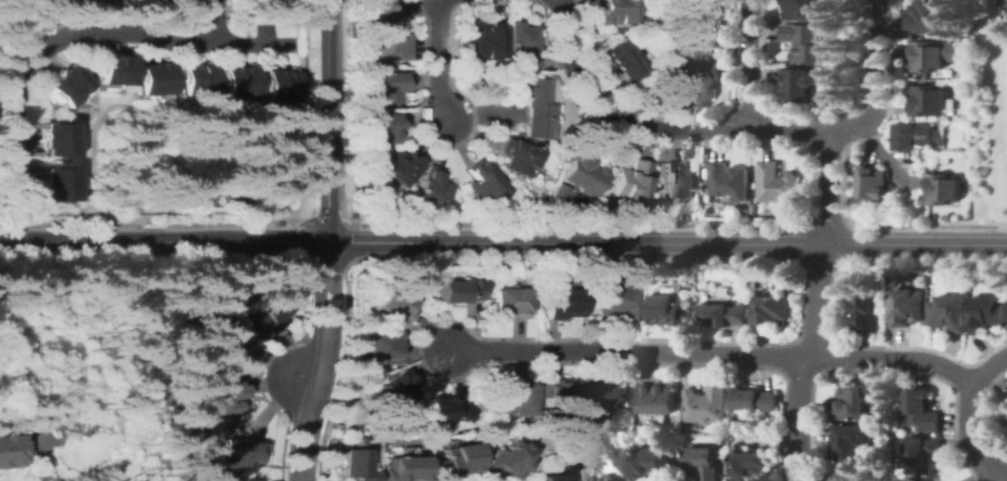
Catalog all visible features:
building: (698, 4)
building: (1006, 4)
building: (378, 8)
building: (802, 8)
building: (613, 12)
building: (928, 17)
road: (215, 21)
road: (83, 35)
building: (699, 37)
building: (484, 40)
building: (520, 42)
building: (805, 42)
building: (389, 44)
building: (927, 56)
building: (619, 58)
road: (439, 61)
road: (752, 65)
building: (110, 69)
building: (924, 76)
building: (152, 78)
building: (194, 79)
building: (700, 81)
building: (237, 82)
road: (876, 82)
building: (64, 84)
building: (279, 85)
building: (797, 85)
building: (388, 86)
building: (928, 100)
building: (536, 105)
road: (326, 121)
building: (381, 127)
road: (652, 128)
building: (914, 135)
building: (53, 139)
building: (518, 157)
building: (397, 167)
building: (580, 173)
building: (630, 180)
building: (730, 180)
building: (677, 182)
building: (483, 183)
building: (777, 183)
building: (873, 183)
building: (53, 184)
building: (432, 187)
road: (829, 187)
building: (942, 189)
building: (553, 193)
road: (163, 242)
road: (577, 243)
road: (918, 244)
road: (326, 262)
building: (458, 291)
building: (401, 299)
building: (618, 301)
building: (510, 302)
building: (562, 304)
road: (322, 306)
road: (337, 306)
building: (863, 306)
building: (908, 307)
building: (770, 310)
building: (670, 311)
building: (267, 312)
building: (949, 313)
building: (986, 313)
building: (722, 315)
building: (220, 339)
building: (384, 347)
road: (714, 353)
road: (805, 361)
road: (983, 379)
road: (302, 381)
building: (396, 391)
building: (610, 396)
building: (223, 398)
building: (558, 398)
building: (513, 399)
building: (658, 399)
building: (753, 399)
road: (309, 405)
building: (706, 405)
building: (850, 405)
building: (477, 407)
building: (444, 410)
building: (921, 410)
building: (849, 446)
road: (974, 446)
building: (8, 450)
building: (921, 453)
building: (240, 454)
building: (454, 460)
building: (509, 460)
building: (645, 462)
building: (702, 464)
building: (354, 465)
building: (750, 466)
building: (403, 468)
building: (551, 476)
road: (1003, 476)
building: (855, 477)
building: (600, 480)

